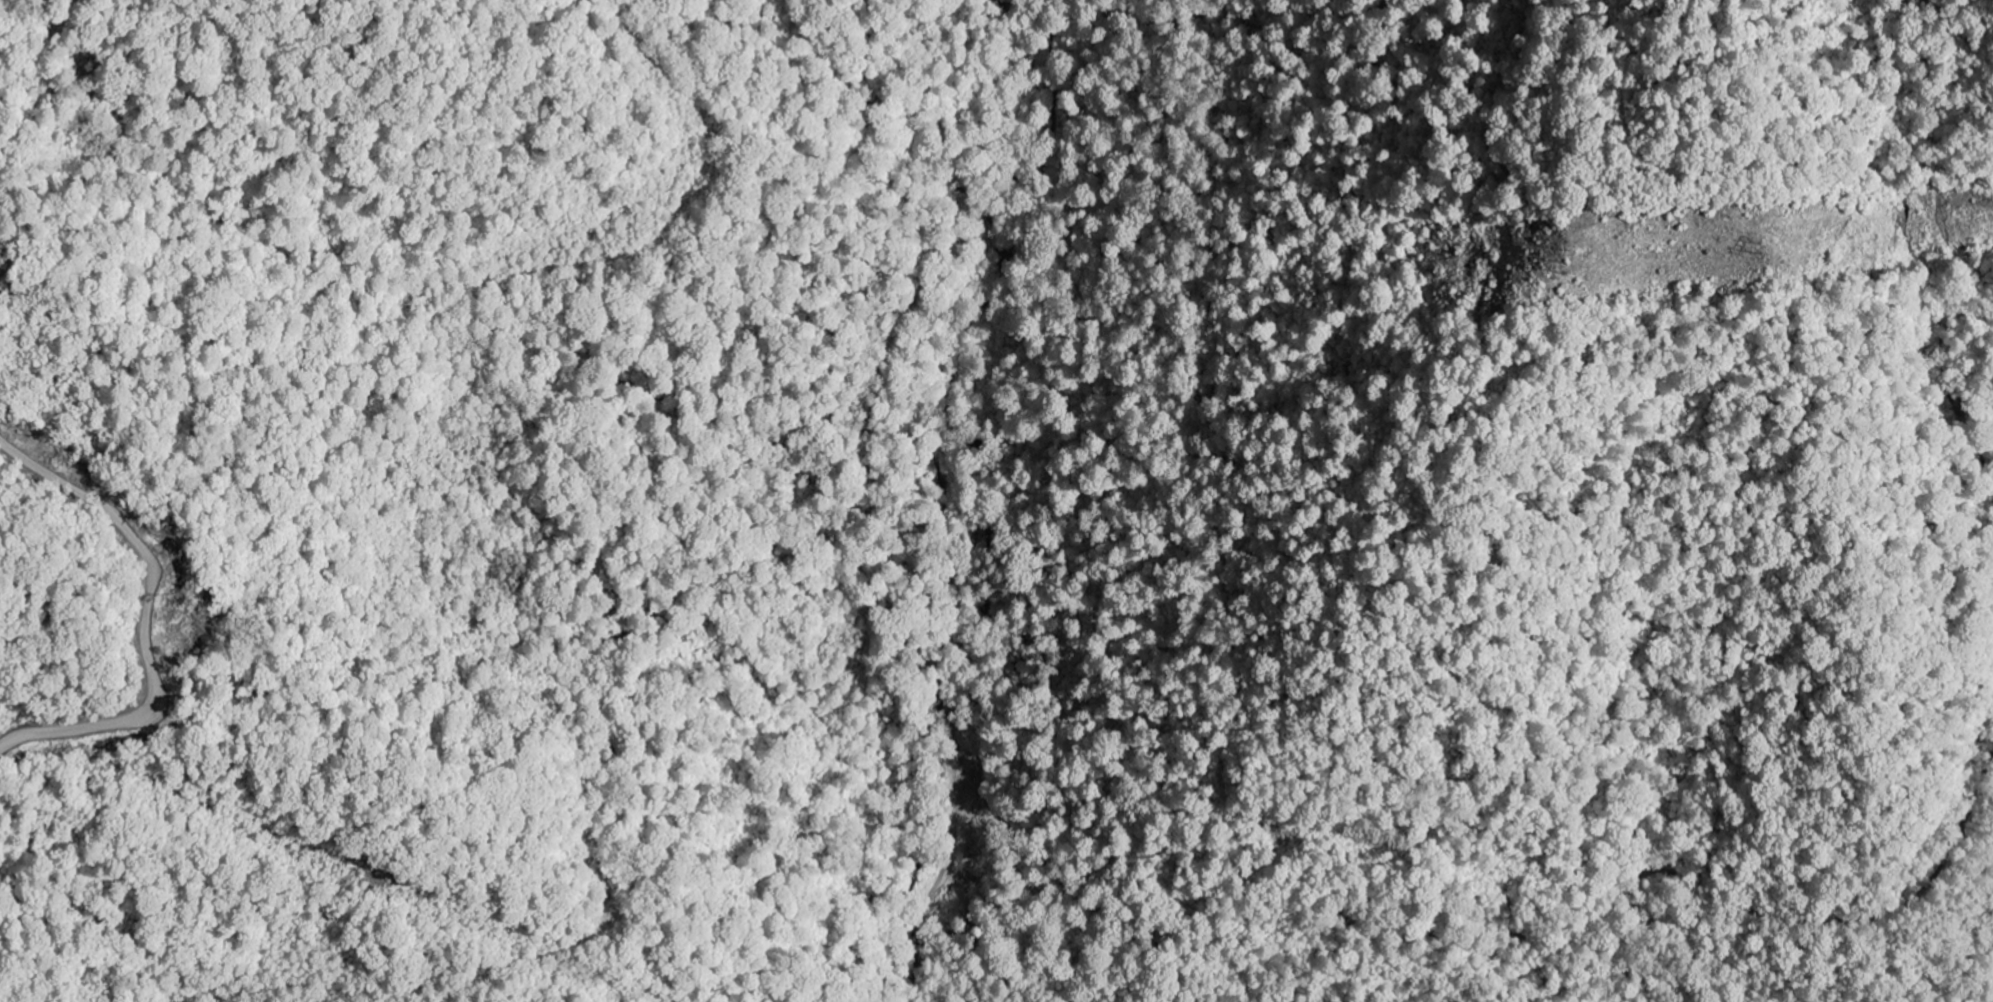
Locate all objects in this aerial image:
road: (176, 476)

